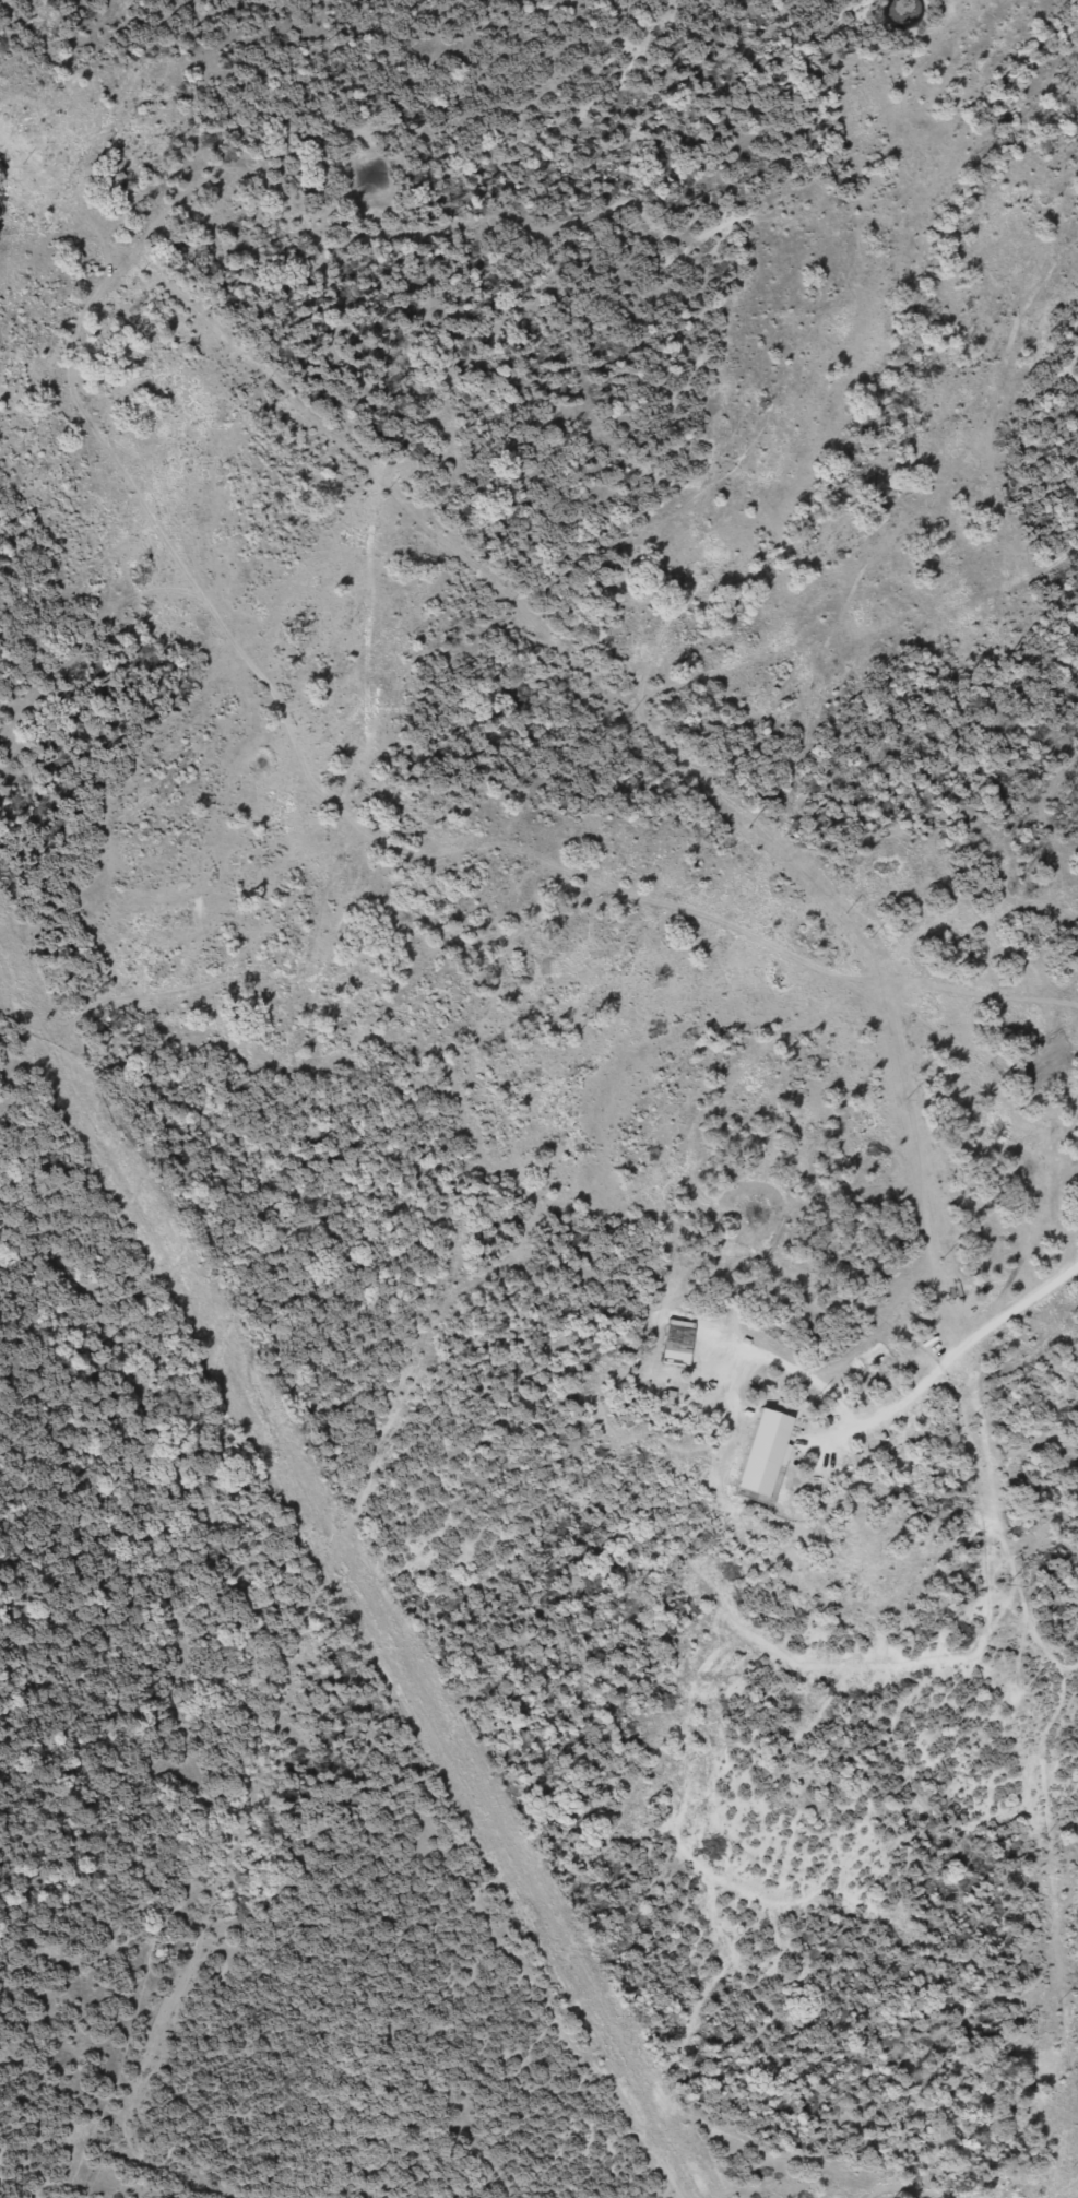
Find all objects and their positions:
road: (966, 1338)

